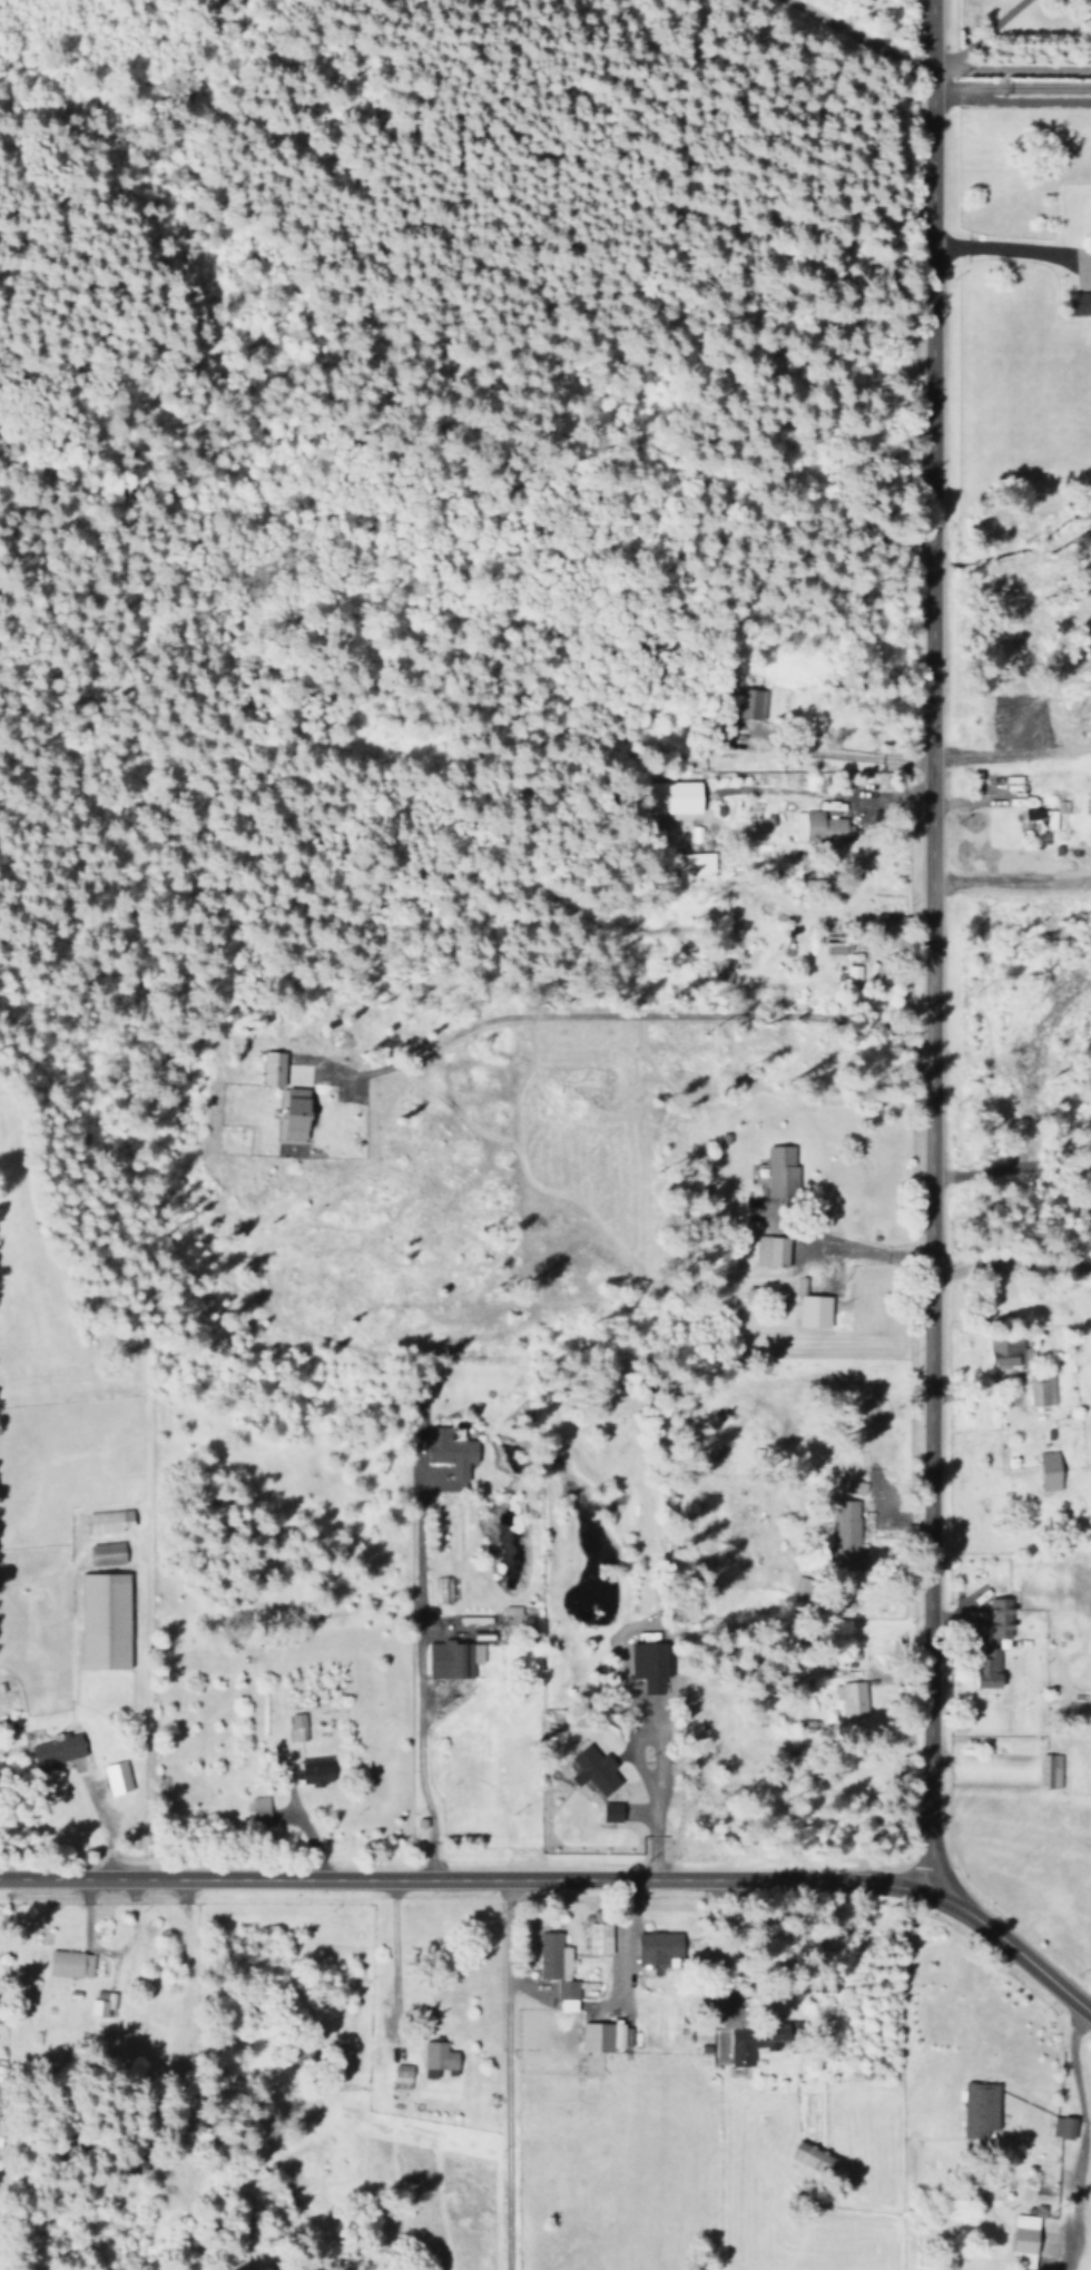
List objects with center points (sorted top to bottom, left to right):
road: (845, 33)
road: (1008, 59)
road: (1003, 248)
building: (1080, 303)
building: (749, 705)
building: (674, 797)
building: (729, 807)
building: (1041, 820)
building: (820, 826)
building: (695, 863)
road: (920, 940)
building: (837, 944)
building: (274, 1068)
building: (295, 1116)
road: (1009, 1158)
building: (783, 1171)
road: (849, 1246)
building: (773, 1249)
road: (1012, 1259)
building: (816, 1310)
building: (1006, 1350)
building: (1042, 1387)
building: (451, 1451)
building: (1051, 1470)
building: (110, 1521)
building: (849, 1532)
building: (108, 1553)
building: (802, 1586)
building: (1002, 1616)
building: (106, 1620)
building: (454, 1659)
building: (651, 1664)
building: (992, 1668)
building: (854, 1699)
building: (296, 1727)
building: (59, 1749)
building: (596, 1769)
building: (317, 1770)
building: (1050, 1770)
building: (118, 1777)
building: (261, 1808)
building: (615, 1811)
road: (570, 1883)
building: (599, 1933)
building: (661, 1948)
building: (71, 1963)
building: (558, 1969)
building: (101, 2005)
building: (602, 2036)
building: (756, 2042)
building: (440, 2058)
building: (402, 2076)
road: (503, 2076)
building: (982, 2107)
building: (1064, 2126)
building: (0, 2132)
building: (814, 2158)
building: (1026, 2238)

